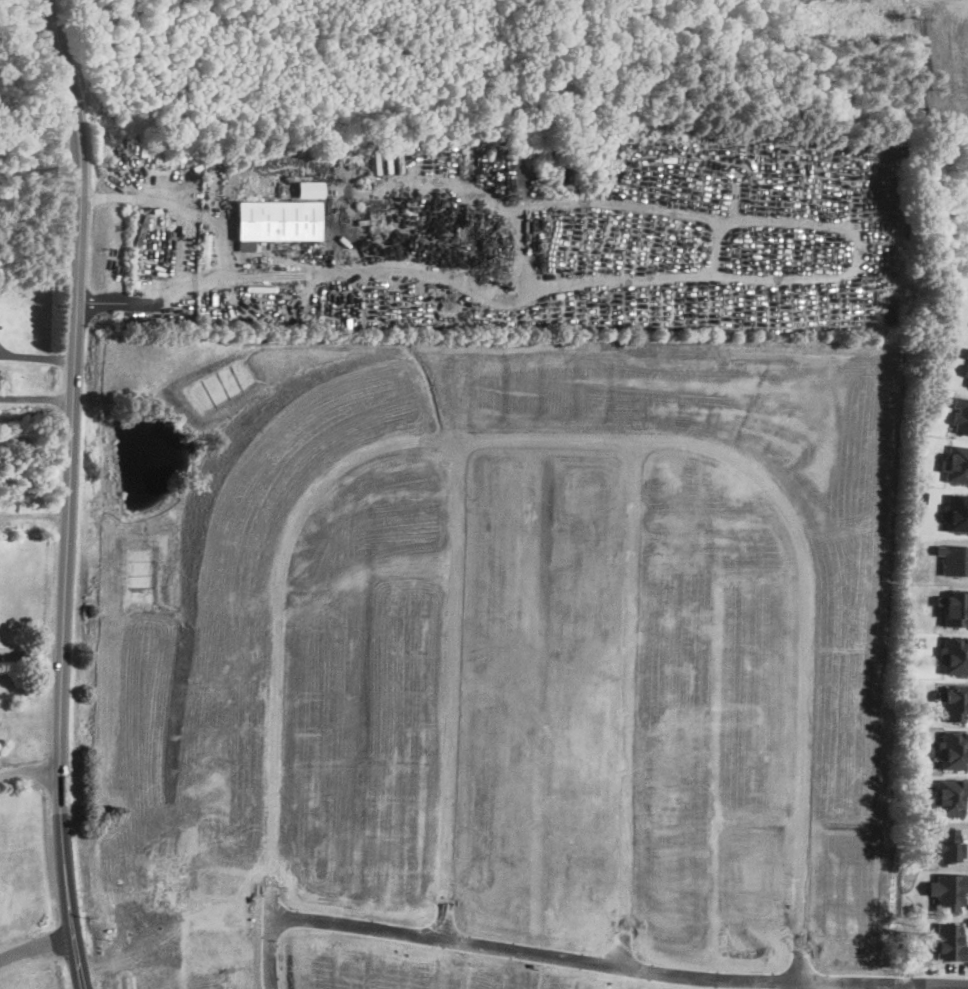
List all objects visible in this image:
building: (276, 220)
building: (202, 249)
road: (223, 252)
road: (37, 355)
road: (36, 398)
road: (579, 437)
road: (68, 493)
road: (34, 512)
road: (31, 647)
building: (643, 650)
road: (453, 686)
building: (466, 694)
road: (631, 700)
building: (665, 734)
building: (588, 757)
road: (29, 770)
building: (546, 779)
building: (453, 900)
road: (269, 947)
road: (34, 949)
road: (619, 961)
road: (957, 972)
road: (795, 983)

